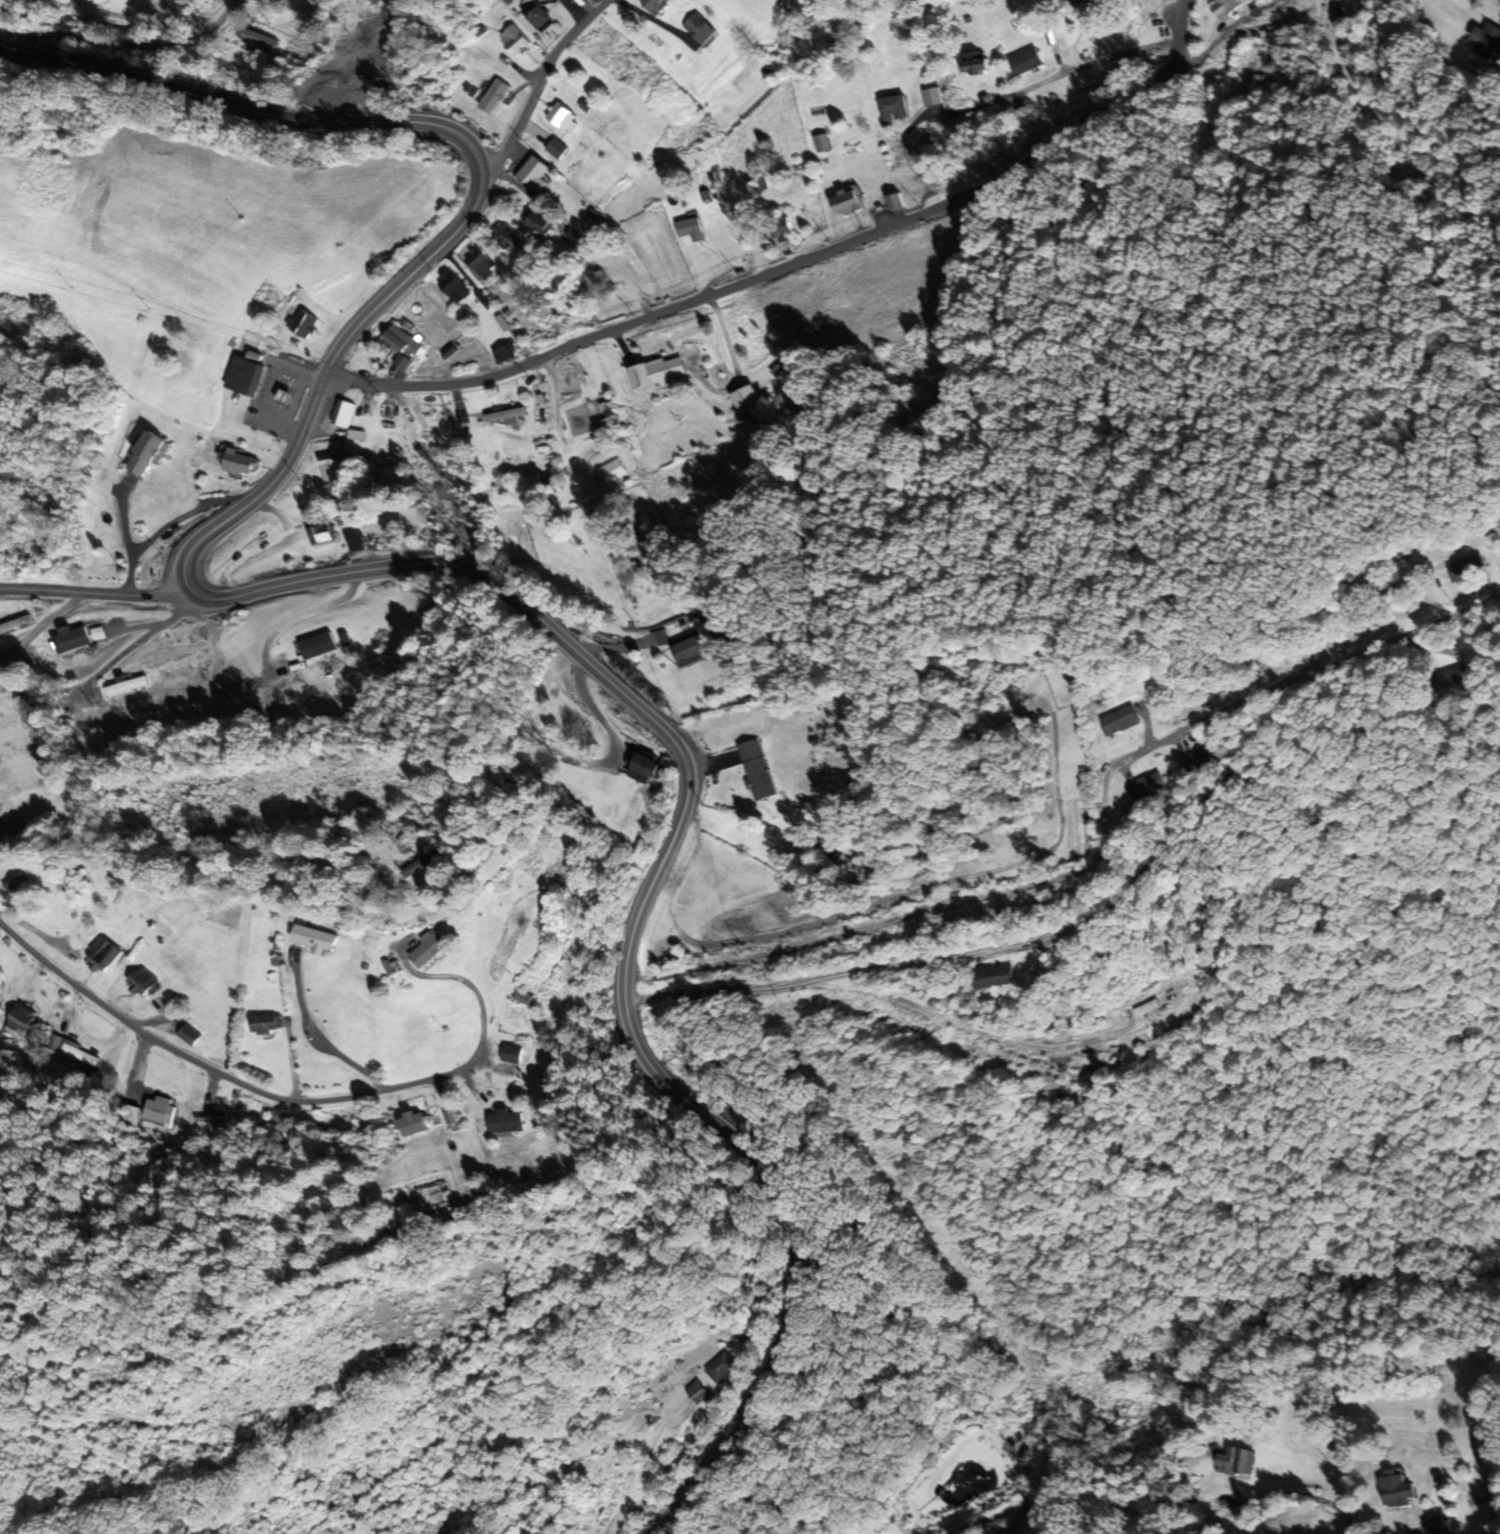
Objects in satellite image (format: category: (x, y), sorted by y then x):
building: (557, 0)
building: (1073, 2)
building: (656, 5)
building: (1228, 7)
building: (539, 16)
building: (697, 31)
building: (515, 40)
road: (132, 41)
building: (1487, 42)
road: (381, 60)
building: (1026, 63)
building: (974, 64)
building: (362, 70)
road: (537, 86)
building: (324, 91)
building: (495, 97)
building: (932, 97)
building: (894, 109)
building: (563, 118)
building: (822, 143)
building: (556, 149)
building: (534, 174)
road: (483, 182)
building: (847, 203)
building: (586, 217)
building: (537, 221)
building: (689, 227)
building: (783, 230)
building: (505, 237)
road: (801, 258)
building: (481, 264)
building: (453, 287)
building: (303, 324)
building: (398, 339)
building: (505, 354)
building: (658, 372)
building: (246, 373)
building: (572, 379)
building: (745, 399)
building: (346, 414)
building: (425, 414)
building: (504, 415)
building: (147, 454)
building: (238, 463)
building: (612, 472)
building: (546, 484)
building: (321, 534)
building: (359, 544)
building: (1466, 568)
road: (92, 591)
building: (72, 640)
building: (318, 646)
building: (690, 648)
building: (127, 686)
road: (1307, 702)
building: (1119, 721)
building: (1205, 760)
building: (643, 769)
building: (758, 770)
building: (1149, 787)
building: (14, 883)
road: (636, 905)
road: (908, 931)
building: (314, 939)
building: (428, 950)
building: (102, 956)
building: (994, 977)
building: (143, 984)
building: (1145, 1008)
building: (286, 1020)
building: (20, 1021)
building: (265, 1025)
building: (189, 1036)
building: (73, 1053)
building: (511, 1054)
road: (225, 1075)
building: (135, 1076)
building: (156, 1105)
building: (207, 1120)
building: (506, 1121)
building: (413, 1122)
building: (746, 1332)
building: (721, 1367)
building: (697, 1391)
building: (1238, 1461)
building: (1398, 1490)

